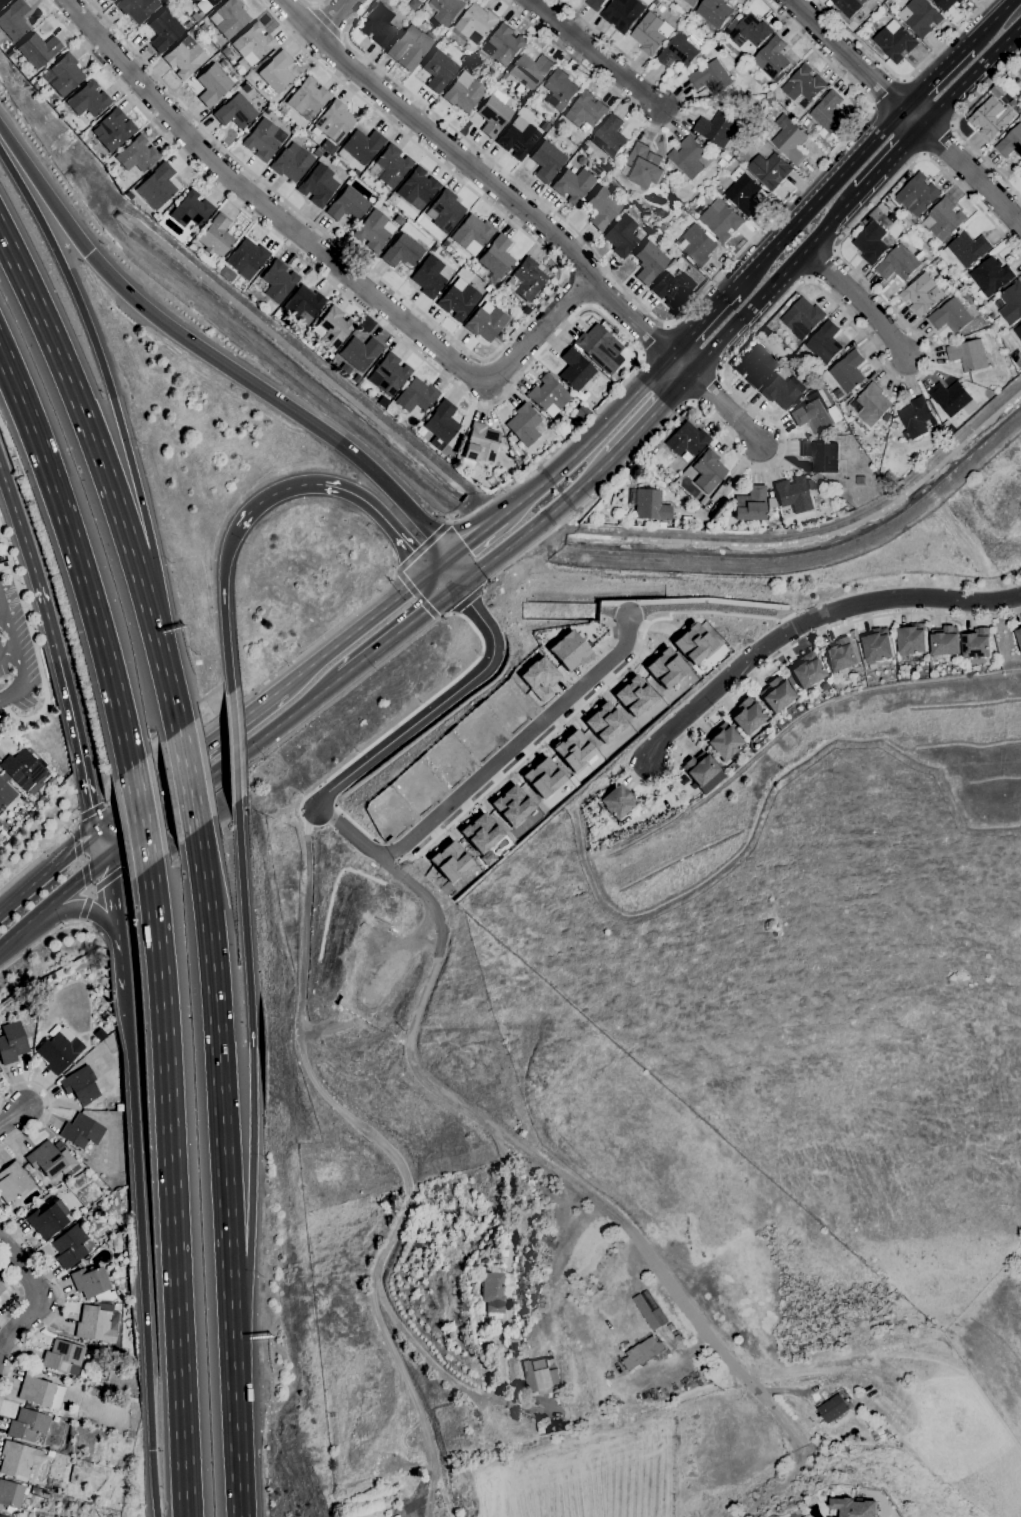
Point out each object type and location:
building: (111, 0)
park: (313, 0)
building: (421, 0)
building: (177, 1)
building: (3, 2)
building: (654, 2)
building: (689, 2)
building: (828, 3)
building: (946, 3)
building: (414, 4)
building: (594, 4)
building: (204, 5)
road: (314, 5)
road: (310, 6)
building: (848, 6)
building: (660, 8)
building: (137, 9)
building: (445, 10)
building: (713, 12)
building: (622, 13)
building: (920, 16)
building: (195, 17)
building: (229, 18)
road: (329, 19)
building: (14, 20)
road: (991, 20)
building: (685, 21)
road: (325, 23)
building: (475, 23)
building: (189, 25)
building: (379, 26)
building: (204, 27)
building: (164, 31)
building: (651, 33)
building: (748, 33)
road: (344, 37)
building: (894, 41)
building: (503, 45)
building: (252, 46)
building: (409, 48)
building: (38, 50)
building: (682, 50)
building: (225, 52)
road: (594, 53)
building: (185, 58)
building: (771, 59)
building: (530, 70)
building: (1019, 70)
building: (438, 71)
building: (276, 74)
building: (494, 74)
road: (937, 74)
building: (65, 75)
road: (902, 75)
road: (971, 76)
building: (710, 77)
building: (487, 78)
building: (803, 84)
building: (212, 85)
building: (193, 86)
building: (559, 89)
road: (890, 92)
building: (463, 93)
building: (1017, 94)
building: (308, 98)
building: (88, 100)
building: (770, 102)
building: (1018, 108)
building: (585, 110)
building: (235, 112)
building: (283, 112)
building: (829, 113)
road: (908, 113)
building: (494, 114)
building: (988, 118)
building: (335, 122)
road: (954, 125)
building: (114, 129)
road: (659, 129)
building: (716, 129)
building: (309, 131)
building: (822, 132)
building: (609, 136)
building: (518, 139)
building: (789, 139)
building: (264, 140)
building: (1010, 142)
building: (327, 146)
building: (361, 146)
building: (585, 147)
building: (137, 155)
building: (623, 155)
building: (687, 157)
building: (726, 157)
road: (889, 159)
building: (546, 162)
building: (721, 162)
building: (291, 163)
building: (392, 166)
building: (644, 166)
building: (358, 168)
building: (769, 169)
building: (1020, 175)
road: (488, 181)
building: (320, 184)
building: (159, 185)
building: (573, 185)
building: (417, 188)
building: (718, 190)
road: (43, 191)
building: (743, 192)
building: (917, 194)
building: (391, 197)
road: (818, 198)
building: (347, 205)
building: (602, 208)
building: (191, 210)
building: (445, 211)
building: (682, 213)
building: (905, 217)
building: (943, 219)
building: (720, 220)
building: (374, 231)
building: (192, 235)
building: (472, 235)
building: (898, 235)
building: (621, 236)
building: (216, 239)
building: (870, 242)
building: (696, 246)
building: (966, 248)
building: (193, 249)
building: (402, 252)
traffic signals: (89, 253)
road: (320, 253)
building: (246, 259)
building: (496, 259)
building: (935, 262)
building: (649, 263)
building: (898, 263)
building: (213, 267)
building: (480, 271)
building: (226, 274)
building: (990, 275)
building: (429, 277)
building: (528, 279)
building: (963, 279)
building: (277, 281)
road: (769, 283)
building: (672, 289)
road: (575, 290)
road: (790, 294)
building: (921, 294)
building: (458, 300)
road: (857, 302)
building: (1009, 302)
building: (303, 305)
building: (950, 316)
road: (658, 317)
building: (802, 317)
building: (486, 322)
road: (700, 323)
building: (333, 328)
building: (765, 332)
building: (500, 335)
road: (652, 339)
building: (960, 339)
building: (824, 343)
building: (1014, 343)
building: (596, 345)
building: (360, 353)
building: (968, 354)
road: (480, 359)
building: (999, 360)
road: (100, 364)
building: (756, 367)
road: (435, 370)
building: (575, 370)
building: (847, 372)
building: (388, 375)
road: (717, 375)
building: (615, 379)
building: (826, 385)
road: (702, 388)
building: (782, 391)
building: (548, 395)
building: (416, 396)
road: (274, 397)
building: (952, 398)
building: (384, 403)
road: (691, 403)
building: (869, 404)
road: (82, 407)
road: (723, 411)
building: (581, 413)
building: (813, 413)
road: (647, 416)
building: (885, 417)
building: (916, 418)
building: (441, 423)
building: (893, 425)
building: (524, 426)
building: (949, 428)
road: (588, 440)
building: (687, 440)
building: (481, 444)
building: (650, 455)
building: (821, 455)
building: (686, 457)
building: (708, 471)
building: (493, 481)
building: (811, 485)
road: (340, 489)
road: (8, 491)
building: (771, 495)
building: (793, 495)
building: (846, 497)
building: (703, 501)
building: (771, 503)
building: (750, 504)
building: (651, 506)
building: (772, 513)
road: (492, 524)
road: (534, 524)
building: (661, 525)
road: (465, 543)
road: (421, 546)
road: (78, 554)
traffic signals: (449, 555)
road: (439, 563)
road: (395, 570)
road: (452, 570)
traffic signals: (430, 571)
road: (442, 578)
traffic signals: (455, 586)
road: (416, 594)
road: (468, 600)
road: (712, 607)
road: (222, 609)
road: (452, 613)
road: (1, 616)
road: (438, 618)
road: (808, 622)
road: (355, 629)
road: (398, 630)
building: (1018, 634)
building: (911, 639)
building: (944, 640)
building: (976, 643)
building: (692, 644)
building: (876, 646)
building: (568, 651)
road: (787, 651)
road: (7, 653)
building: (840, 654)
road: (15, 656)
road: (161, 661)
building: (664, 668)
road: (62, 670)
road: (280, 671)
building: (806, 671)
building: (538, 678)
building: (790, 681)
building: (825, 687)
building: (776, 694)
building: (633, 696)
road: (436, 706)
building: (747, 716)
building: (603, 723)
road: (291, 734)
building: (723, 742)
road: (514, 745)
road: (232, 746)
building: (573, 750)
road: (189, 758)
road: (224, 768)
building: (699, 769)
building: (23, 771)
building: (722, 775)
building: (542, 778)
road: (186, 780)
road: (132, 786)
building: (6, 793)
building: (40, 798)
building: (617, 802)
building: (34, 804)
building: (511, 806)
road: (94, 810)
building: (21, 813)
road: (138, 817)
road: (74, 828)
traffic signals: (98, 828)
road: (348, 832)
building: (10, 833)
building: (480, 833)
road: (76, 843)
road: (102, 844)
road: (42, 856)
traffic signals: (106, 860)
road: (81, 861)
building: (449, 861)
road: (129, 867)
road: (48, 869)
road: (86, 875)
road: (111, 878)
road: (74, 883)
road: (89, 889)
road: (90, 892)
road: (113, 896)
road: (85, 908)
road: (85, 909)
road: (81, 922)
road: (22, 927)
road: (43, 939)
road: (121, 961)
building: (100, 1034)
building: (12, 1043)
building: (59, 1051)
road: (253, 1054)
road: (217, 1067)
building: (80, 1086)
building: (99, 1086)
road: (49, 1106)
road: (15, 1120)
building: (81, 1132)
road: (393, 1157)
building: (51, 1161)
road: (541, 1161)
building: (14, 1182)
road: (171, 1191)
building: (435, 1208)
building: (48, 1220)
building: (108, 1244)
building: (70, 1247)
road: (141, 1252)
building: (82, 1264)
building: (113, 1274)
building: (92, 1284)
building: (1, 1288)
building: (497, 1289)
road: (19, 1294)
road: (39, 1297)
park: (925, 1297)
building: (511, 1304)
road: (60, 1309)
building: (654, 1309)
road: (231, 1322)
building: (98, 1323)
building: (670, 1327)
building: (472, 1329)
building: (676, 1339)
building: (514, 1347)
building: (642, 1353)
building: (63, 1358)
building: (551, 1359)
road: (442, 1371)
building: (539, 1376)
building: (90, 1391)
building: (40, 1392)
building: (832, 1408)
building: (29, 1426)
building: (558, 1426)
building: (542, 1427)
road: (236, 1428)
traffic signals: (152, 1450)
building: (50, 1454)
building: (18, 1459)
building: (10, 1494)
building: (854, 1507)
building: (1, 1516)

